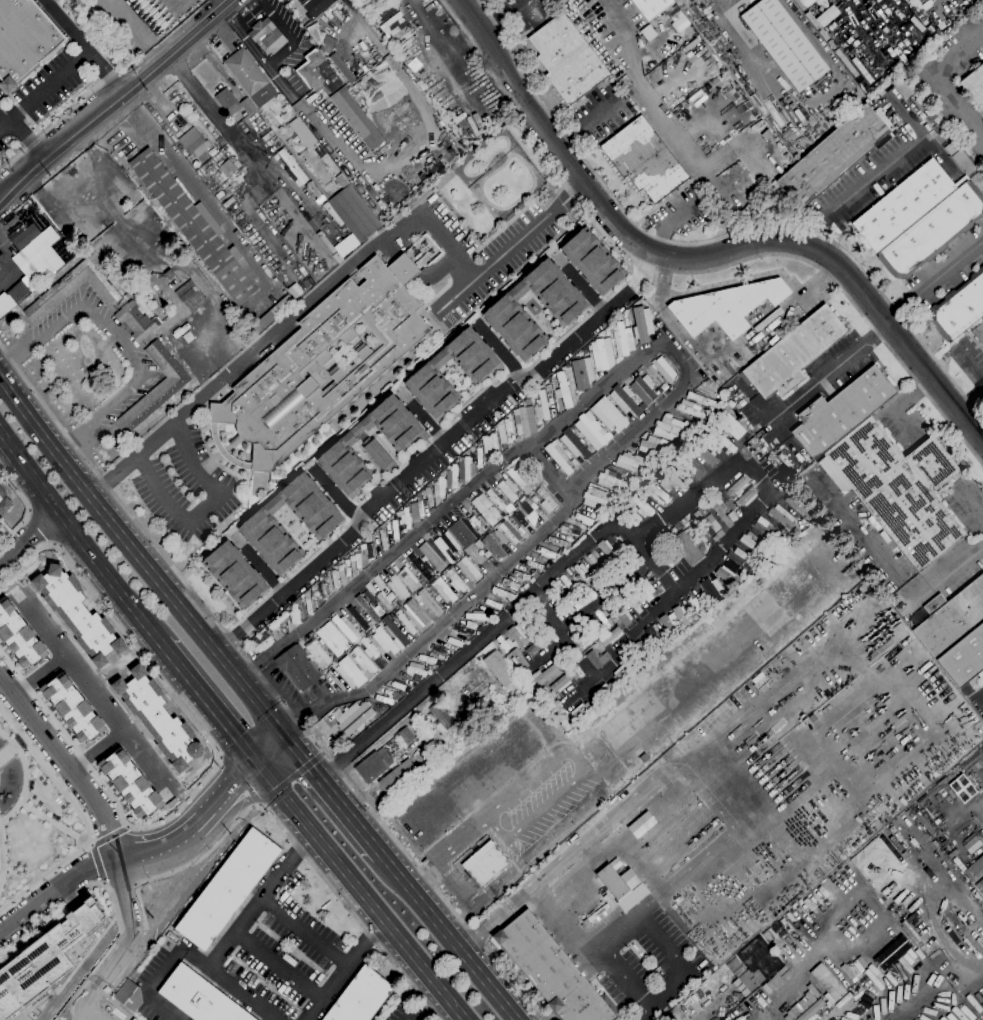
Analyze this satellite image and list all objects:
building: (693, 0)
building: (695, 0)
building: (806, 2)
building: (315, 6)
building: (651, 7)
road: (249, 12)
road: (457, 24)
road: (67, 25)
building: (395, 26)
road: (140, 30)
building: (267, 35)
building: (23, 37)
road: (183, 43)
building: (785, 43)
building: (328, 44)
road: (958, 51)
building: (567, 59)
road: (273, 61)
building: (342, 68)
road: (107, 71)
building: (318, 72)
building: (250, 77)
road: (49, 84)
road: (639, 85)
building: (902, 86)
building: (975, 86)
parking lot: (1, 92)
parking lot: (41, 92)
building: (233, 102)
road: (958, 102)
road: (5, 114)
building: (930, 117)
building: (357, 118)
road: (55, 123)
road: (5, 124)
building: (939, 128)
building: (302, 132)
building: (766, 134)
road: (28, 138)
building: (220, 140)
road: (65, 141)
building: (195, 144)
building: (835, 155)
building: (644, 159)
road: (251, 161)
building: (964, 162)
building: (293, 166)
road: (176, 167)
building: (227, 168)
road: (551, 168)
building: (980, 179)
road: (864, 186)
building: (220, 194)
building: (904, 205)
building: (355, 213)
building: (333, 214)
building: (197, 228)
building: (933, 231)
building: (23, 235)
road: (713, 240)
building: (326, 242)
road: (512, 247)
road: (700, 256)
building: (592, 262)
road: (949, 266)
road: (824, 272)
building: (169, 274)
road: (415, 275)
road: (584, 288)
building: (73, 289)
building: (19, 291)
building: (191, 295)
road: (900, 306)
building: (726, 307)
building: (959, 308)
building: (566, 309)
building: (138, 316)
building: (263, 317)
road: (284, 321)
building: (642, 324)
building: (979, 332)
road: (881, 336)
building: (623, 340)
road: (121, 343)
building: (603, 353)
building: (794, 353)
road: (501, 356)
road: (972, 361)
building: (287, 364)
building: (478, 367)
building: (664, 369)
building: (582, 373)
road: (820, 385)
building: (155, 387)
building: (548, 387)
building: (644, 389)
building: (563, 390)
building: (702, 399)
building: (626, 400)
building: (527, 401)
road: (971, 401)
building: (542, 407)
building: (692, 409)
building: (841, 411)
building: (608, 414)
building: (521, 421)
building: (394, 422)
road: (770, 424)
building: (671, 425)
building: (732, 426)
building: (507, 430)
building: (592, 431)
road: (629, 432)
building: (494, 442)
building: (724, 444)
building: (574, 445)
building: (655, 446)
building: (380, 455)
building: (706, 455)
building: (559, 456)
building: (479, 458)
building: (630, 462)
building: (345, 464)
road: (417, 466)
building: (467, 467)
building: (693, 468)
building: (453, 476)
building: (520, 479)
building: (611, 480)
building: (535, 481)
building: (677, 483)
building: (737, 486)
building: (439, 487)
building: (898, 489)
building: (509, 490)
road: (468, 492)
building: (656, 492)
building: (429, 496)
building: (747, 496)
building: (495, 497)
building: (598, 498)
building: (534, 499)
building: (546, 501)
building: (5, 502)
building: (795, 503)
road: (25, 505)
building: (641, 506)
road: (205, 507)
building: (486, 508)
building: (532, 508)
road: (28, 509)
building: (417, 510)
building: (722, 510)
building: (781, 516)
building: (407, 518)
building: (583, 518)
building: (519, 519)
building: (684, 521)
building: (707, 522)
building: (260, 523)
building: (0, 525)
road: (41, 526)
building: (766, 527)
building: (395, 529)
building: (569, 529)
building: (510, 532)
road: (734, 533)
building: (462, 534)
building: (663, 535)
building: (718, 535)
building: (500, 536)
road: (79, 537)
road: (28, 538)
building: (383, 539)
building: (750, 541)
building: (559, 542)
road: (52, 543)
building: (492, 547)
building: (445, 548)
building: (607, 548)
building: (684, 548)
building: (369, 551)
building: (429, 552)
building: (547, 552)
building: (633, 557)
road: (646, 557)
building: (739, 557)
road: (143, 559)
building: (358, 561)
building: (594, 562)
building: (549, 563)
building: (535, 564)
building: (420, 565)
road: (892, 565)
building: (347, 567)
building: (468, 568)
building: (235, 573)
building: (726, 574)
building: (521, 575)
building: (334, 578)
building: (409, 578)
building: (456, 580)
building: (532, 580)
building: (567, 582)
building: (511, 584)
building: (525, 586)
building: (397, 587)
building: (645, 589)
building: (712, 589)
building: (323, 590)
building: (443, 590)
road: (605, 596)
building: (383, 601)
building: (430, 602)
building: (493, 603)
road: (460, 604)
building: (367, 607)
building: (636, 607)
building: (418, 612)
building: (296, 613)
building: (478, 616)
building: (622, 616)
building: (681, 616)
building: (359, 617)
building: (951, 618)
building: (605, 619)
building: (407, 623)
building: (667, 624)
building: (347, 627)
building: (464, 629)
building: (595, 629)
building: (396, 631)
building: (551, 633)
building: (362, 634)
building: (368, 634)
building: (654, 634)
building: (517, 635)
building: (20, 636)
road: (564, 636)
building: (611, 636)
building: (385, 640)
building: (579, 641)
building: (328, 642)
building: (454, 642)
building: (503, 642)
building: (264, 643)
building: (533, 648)
building: (371, 649)
building: (439, 649)
road: (466, 651)
building: (641, 651)
building: (318, 652)
building: (351, 652)
building: (597, 658)
building: (965, 658)
building: (519, 659)
building: (363, 660)
building: (298, 666)
building: (415, 668)
building: (500, 668)
building: (104, 669)
building: (576, 669)
railway: (241, 671)
building: (351, 671)
building: (620, 672)
road: (40, 673)
building: (542, 676)
building: (416, 677)
road: (267, 683)
building: (561, 683)
building: (398, 685)
building: (604, 690)
road: (96, 692)
road: (980, 694)
building: (383, 699)
road: (207, 702)
building: (507, 706)
building: (73, 708)
building: (579, 711)
building: (441, 716)
building: (982, 716)
building: (355, 717)
building: (434, 733)
building: (405, 735)
building: (471, 735)
road: (643, 735)
building: (458, 740)
road: (11, 748)
road: (99, 749)
road: (220, 757)
road: (67, 760)
building: (374, 764)
road: (685, 769)
road: (538, 772)
road: (25, 776)
road: (290, 777)
building: (400, 779)
road: (239, 780)
building: (130, 783)
road: (334, 796)
road: (209, 806)
road: (535, 815)
park: (34, 816)
road: (83, 818)
road: (54, 822)
building: (641, 824)
road: (126, 825)
road: (90, 843)
road: (91, 844)
road: (294, 852)
road: (448, 852)
road: (2, 855)
building: (486, 861)
building: (974, 868)
building: (613, 881)
road: (102, 882)
building: (979, 886)
building: (228, 888)
road: (76, 891)
road: (356, 891)
road: (58, 893)
road: (526, 894)
road: (346, 904)
road: (138, 923)
road: (612, 930)
road: (304, 931)
road: (369, 937)
road: (449, 937)
road: (214, 958)
building: (43, 962)
building: (757, 964)
road: (279, 965)
building: (736, 966)
building: (552, 971)
building: (781, 977)
building: (825, 983)
road: (332, 986)
road: (245, 993)
building: (130, 995)
road: (661, 995)
building: (201, 997)
building: (361, 997)
road: (85, 998)
road: (782, 998)
road: (418, 1002)
building: (800, 1006)
building: (811, 1009)
road: (155, 1011)

